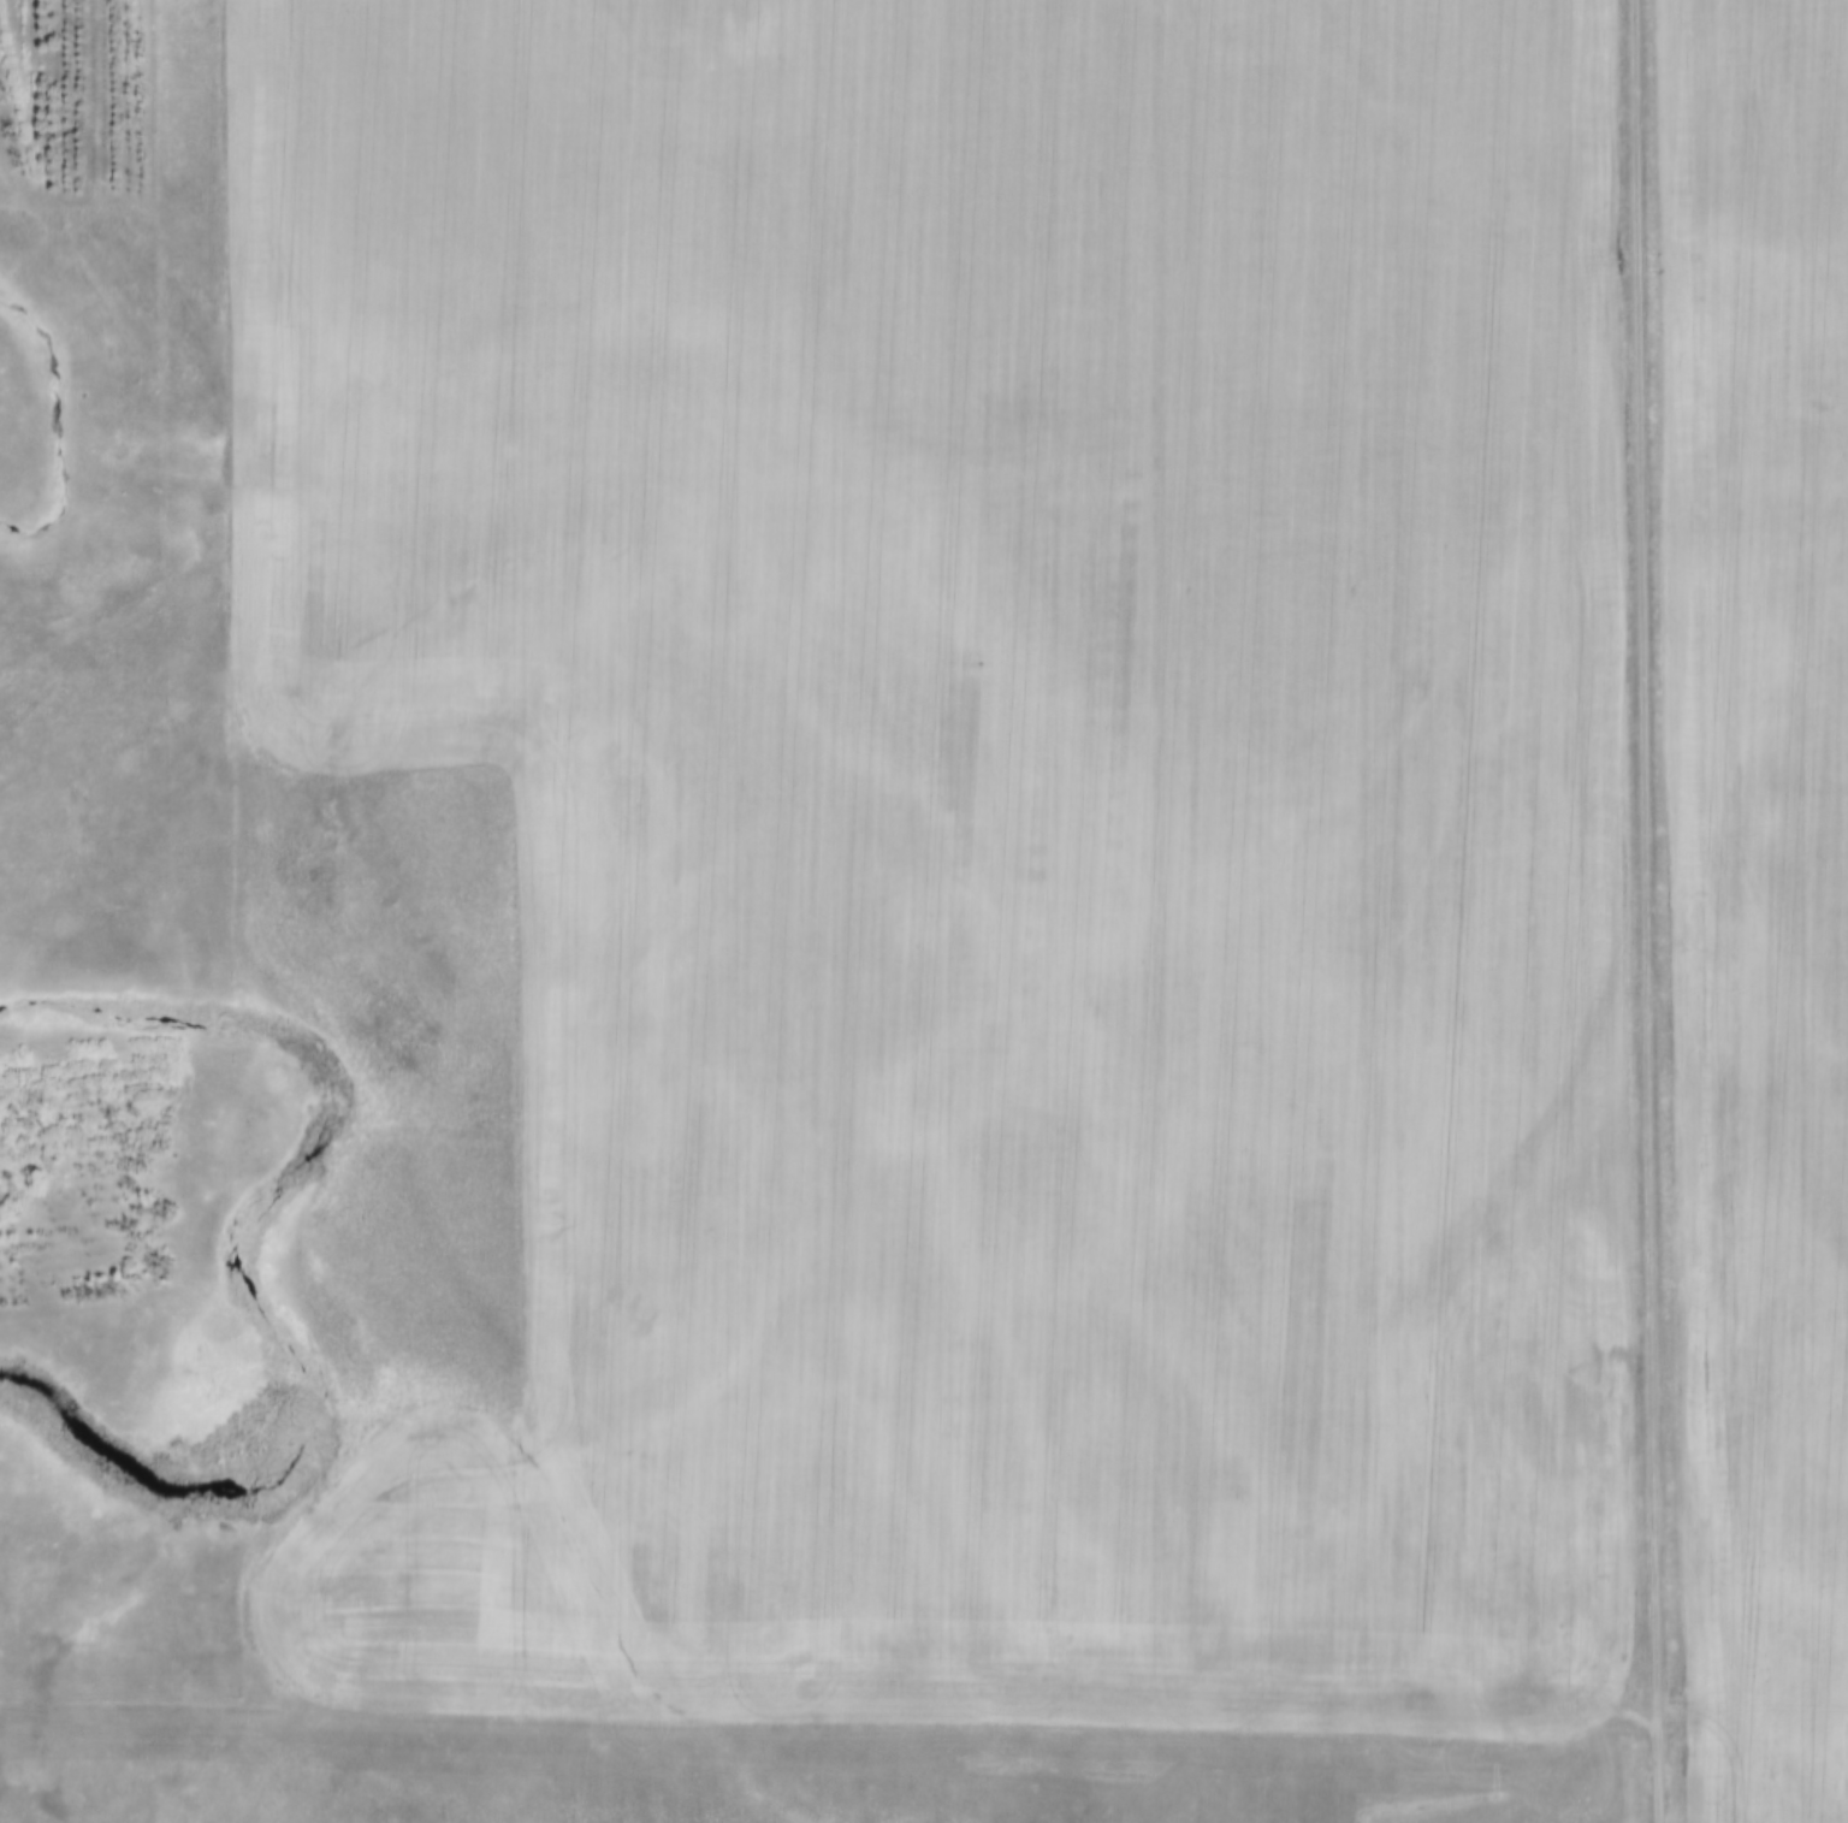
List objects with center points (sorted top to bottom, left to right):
road: (1642, 911)

